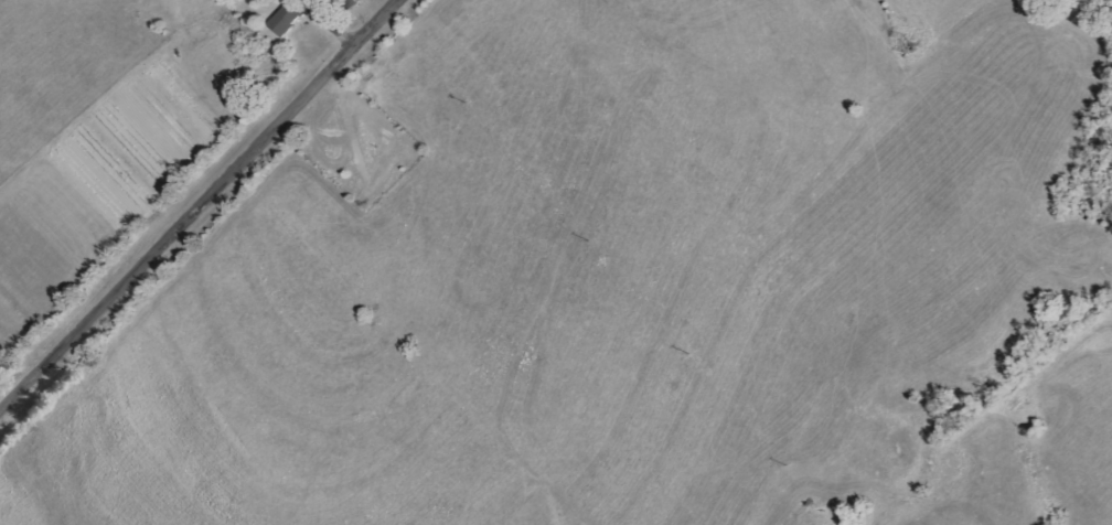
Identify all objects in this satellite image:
building: (288, 19)
road: (200, 206)

